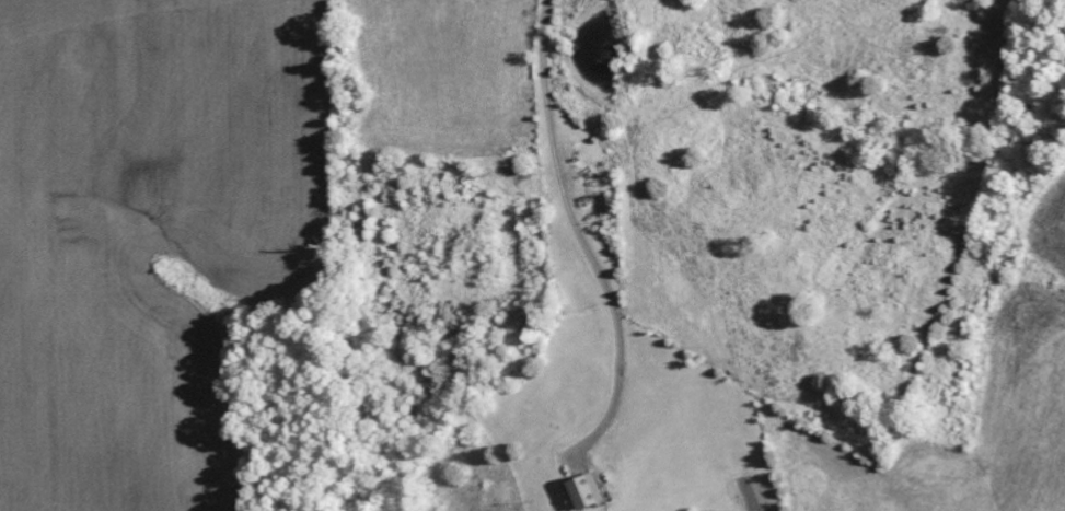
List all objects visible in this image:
road: (672, 165)
building: (613, 204)
building: (593, 491)

